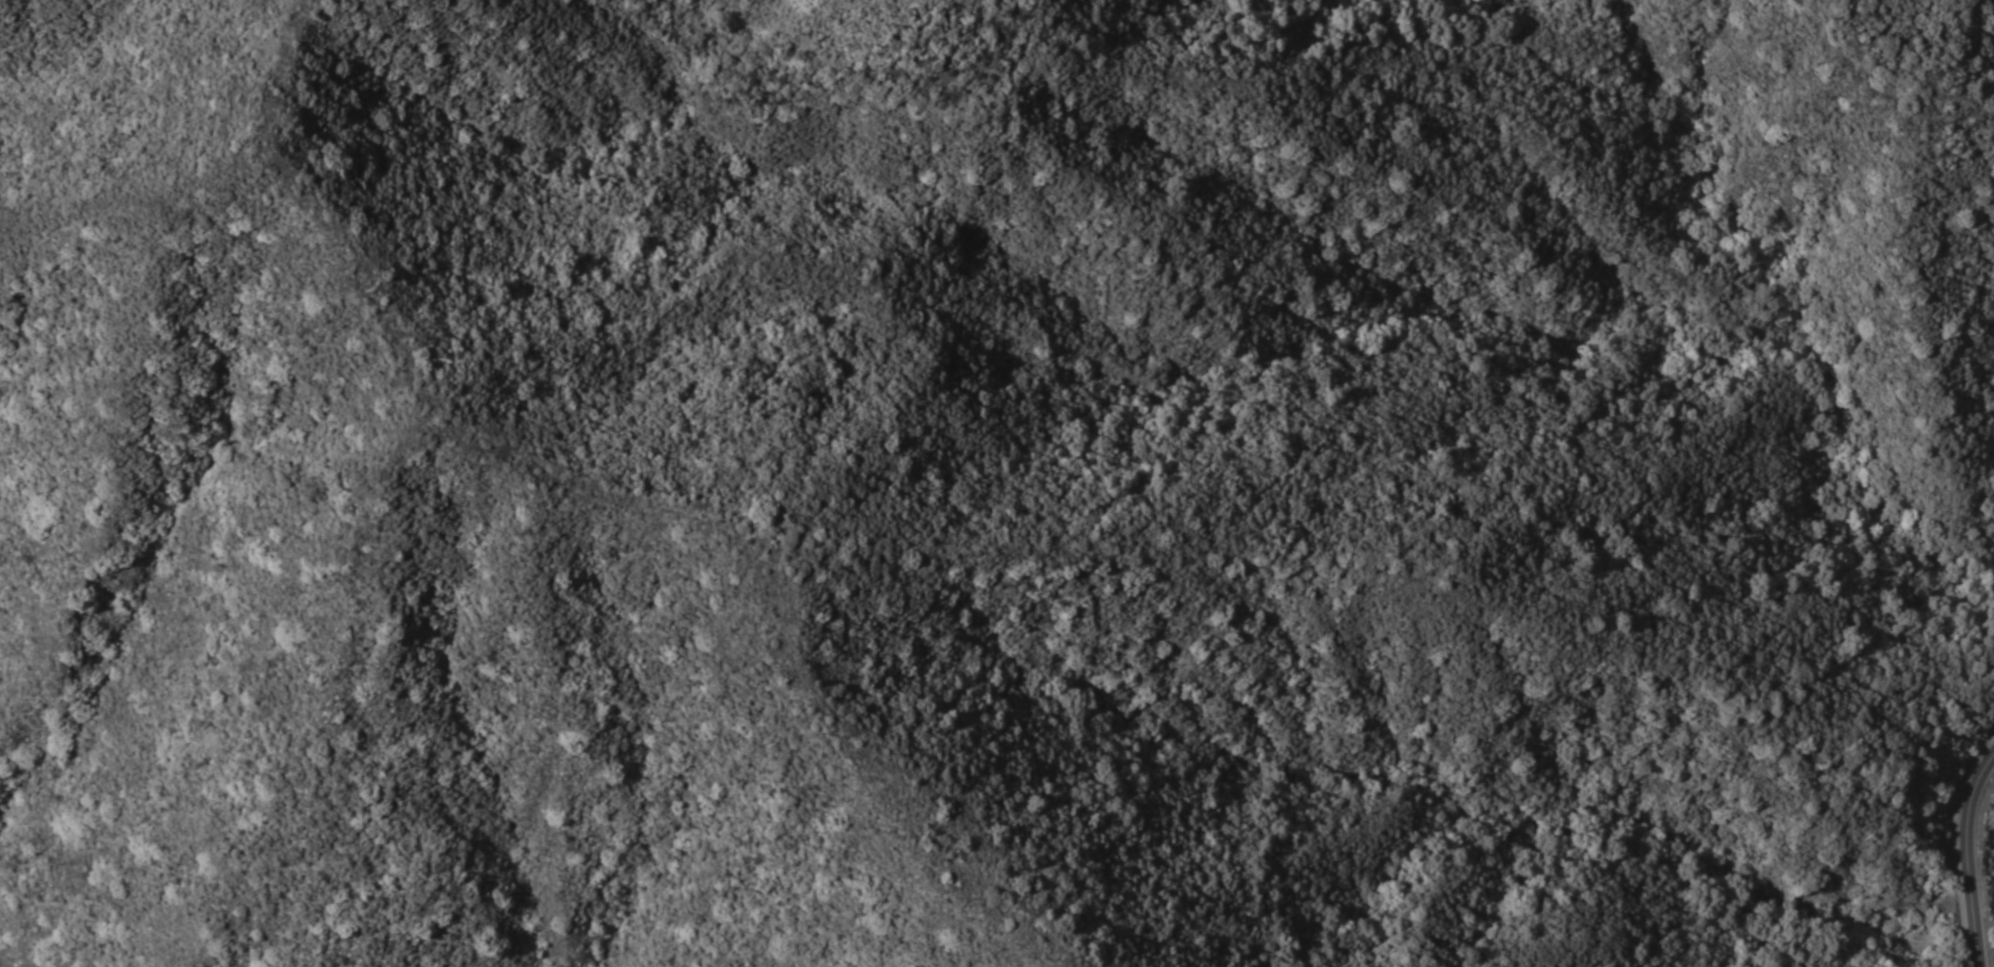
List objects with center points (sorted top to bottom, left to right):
road: (1964, 856)

